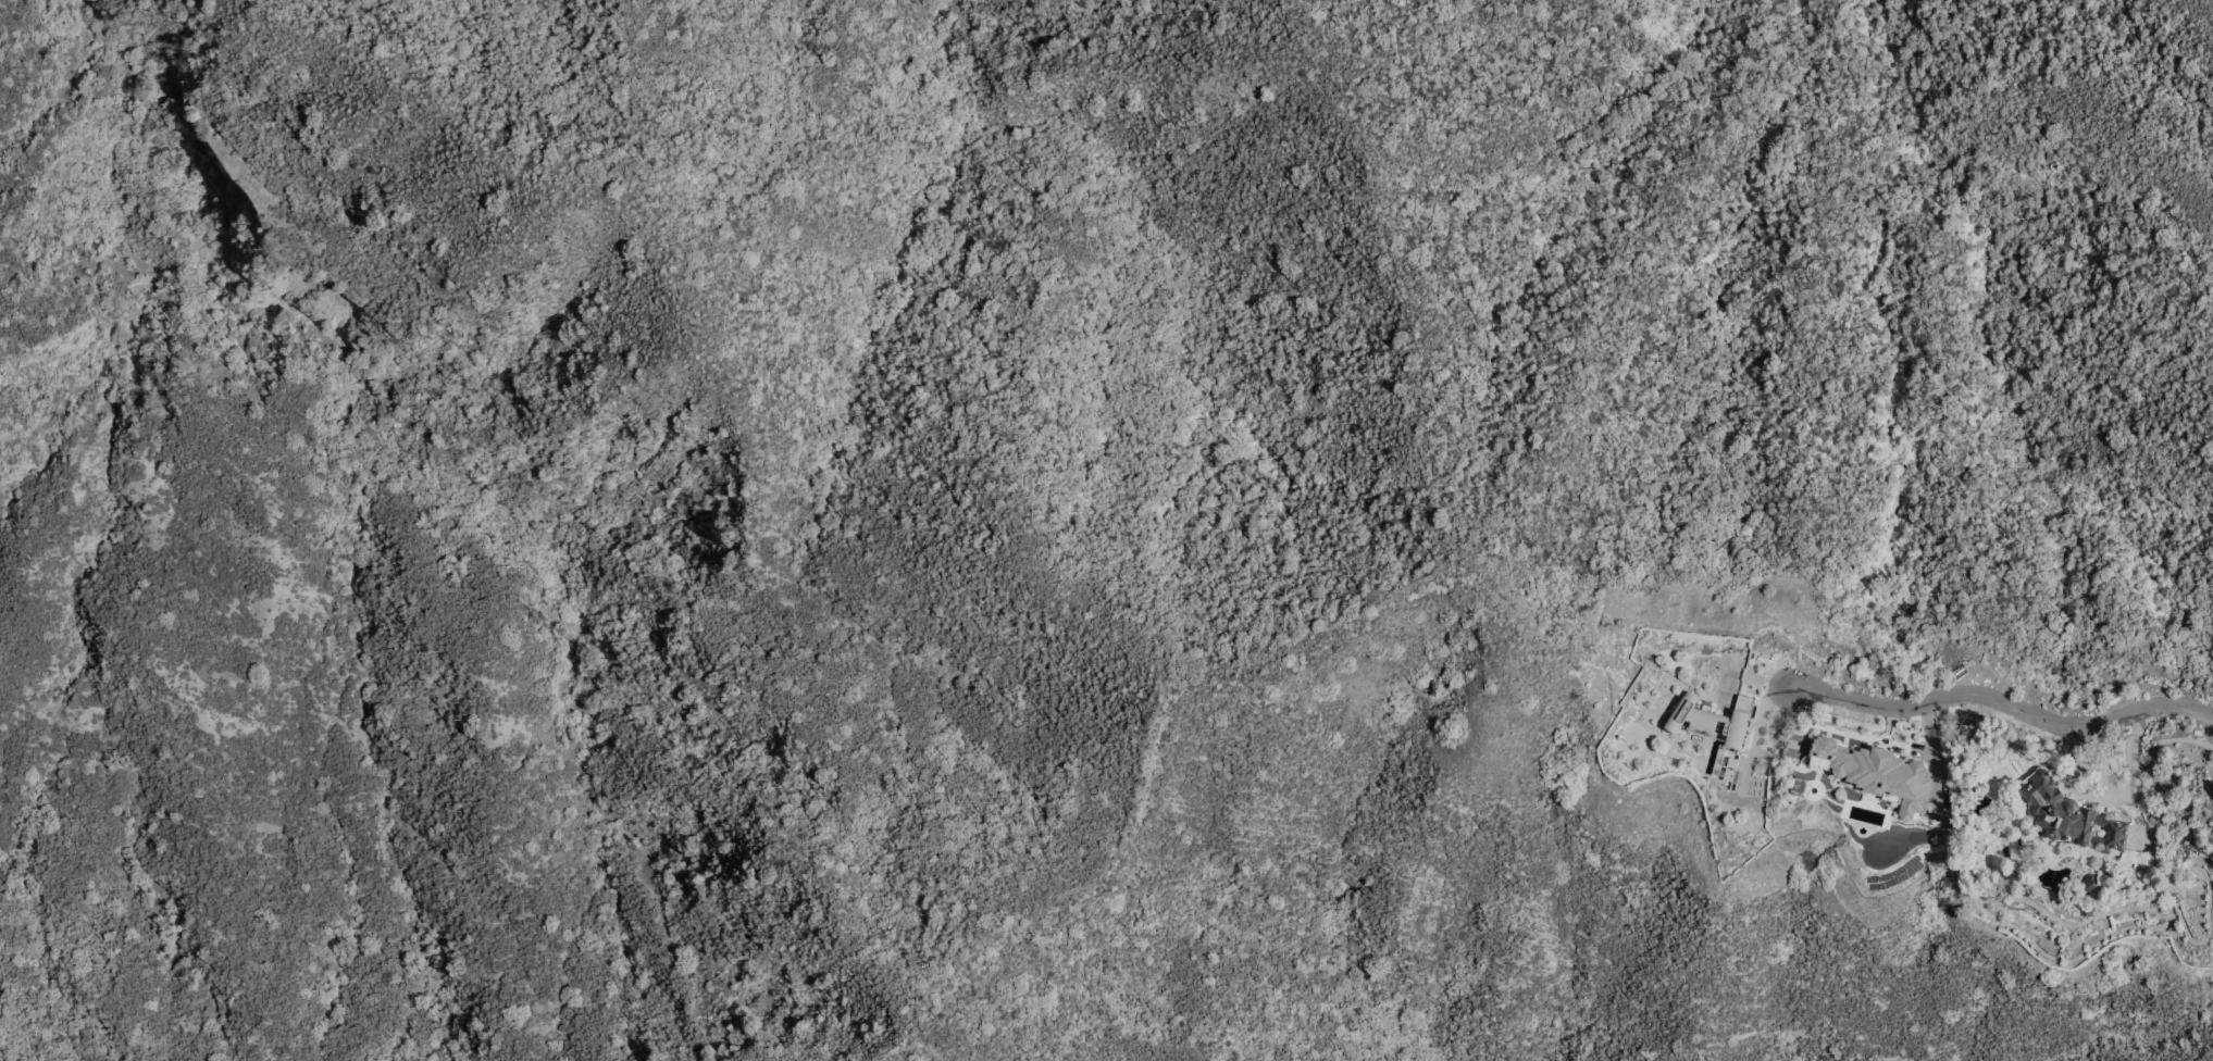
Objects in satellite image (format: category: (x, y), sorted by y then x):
road: (2002, 702)
building: (1713, 720)
road: (1935, 753)
building: (1877, 774)
building: (2071, 816)
building: (2099, 883)

